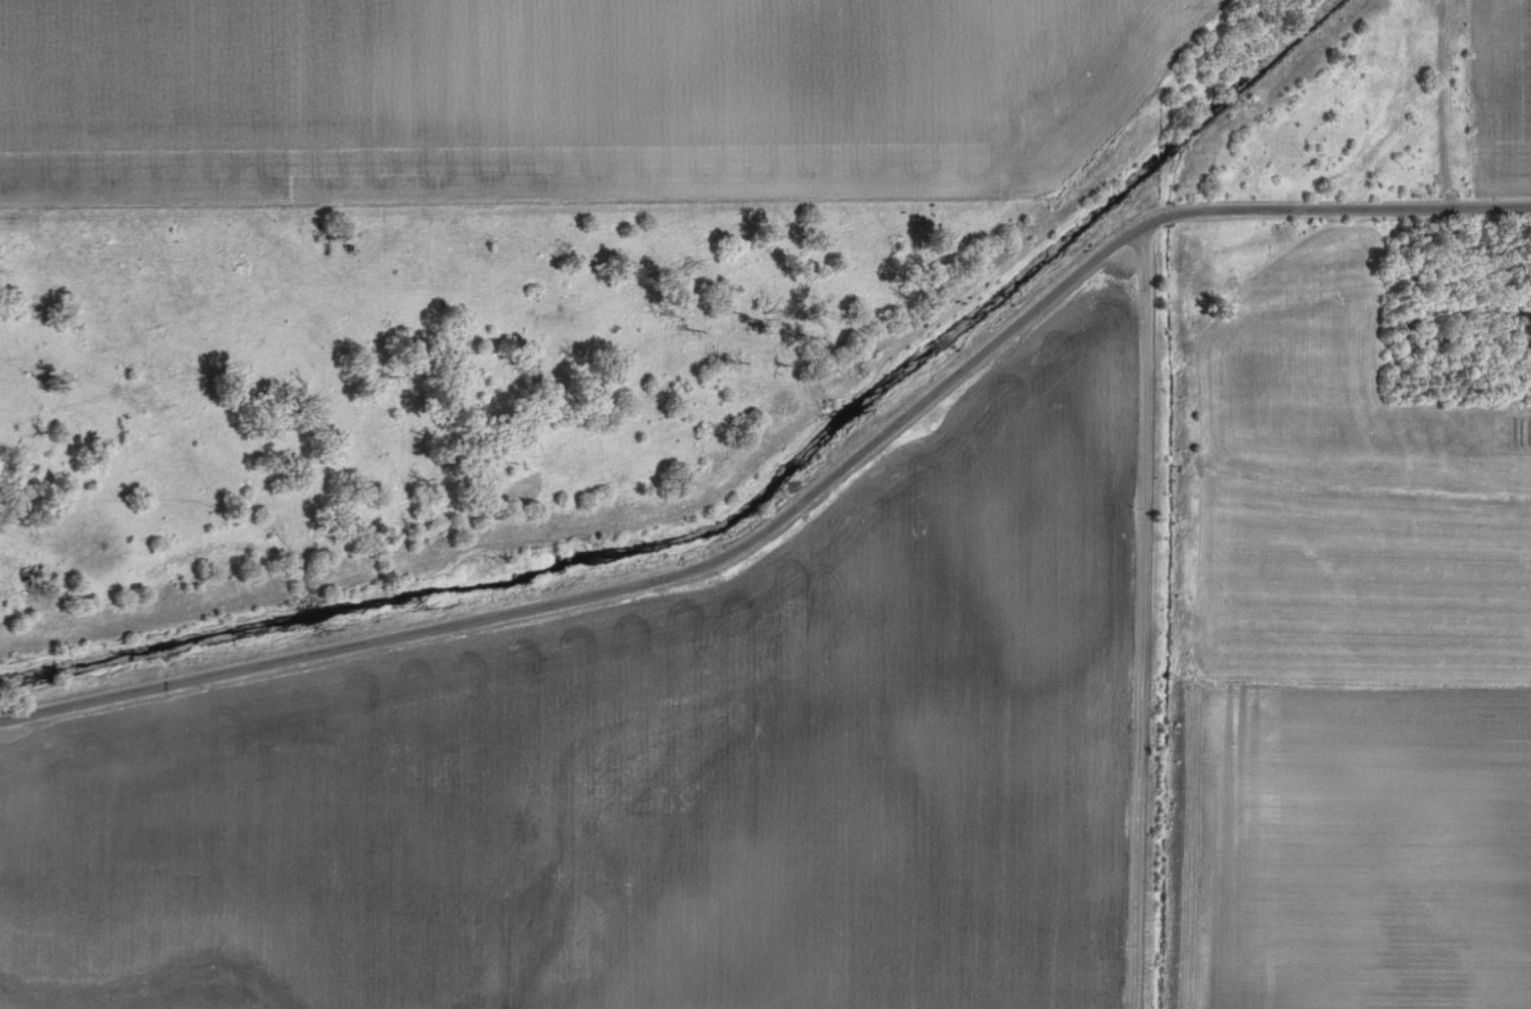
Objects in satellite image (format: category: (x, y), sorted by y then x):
road: (1365, 203)
road: (654, 578)
road: (1138, 615)

